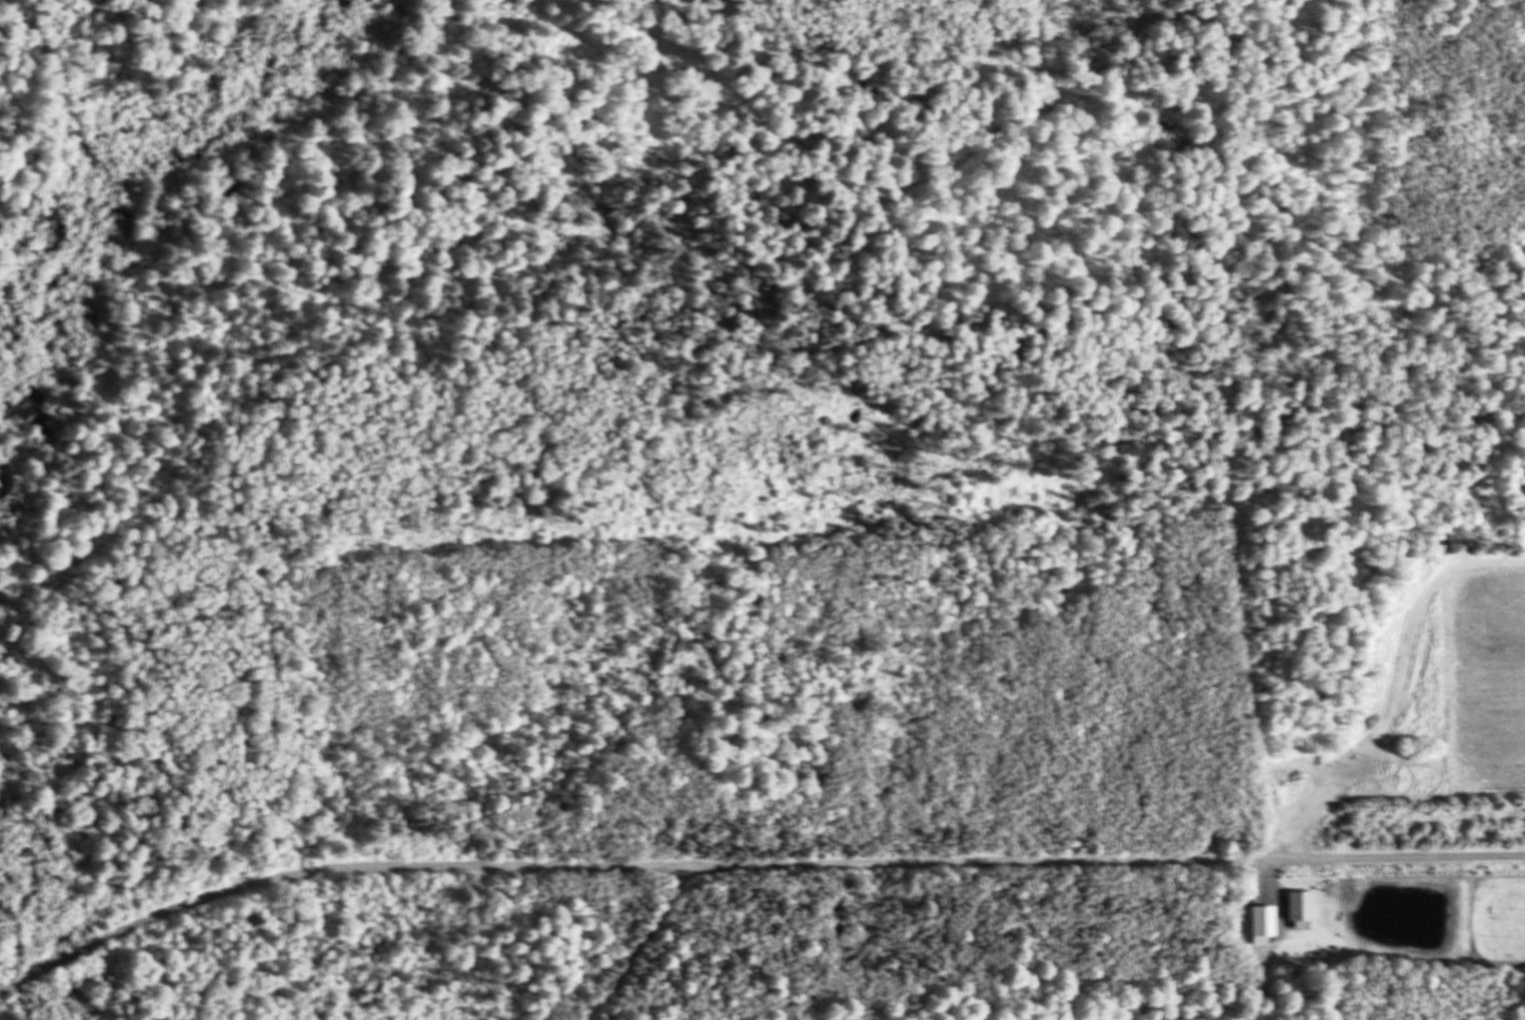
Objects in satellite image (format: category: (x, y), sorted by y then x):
road: (1259, 764)
road: (750, 865)

